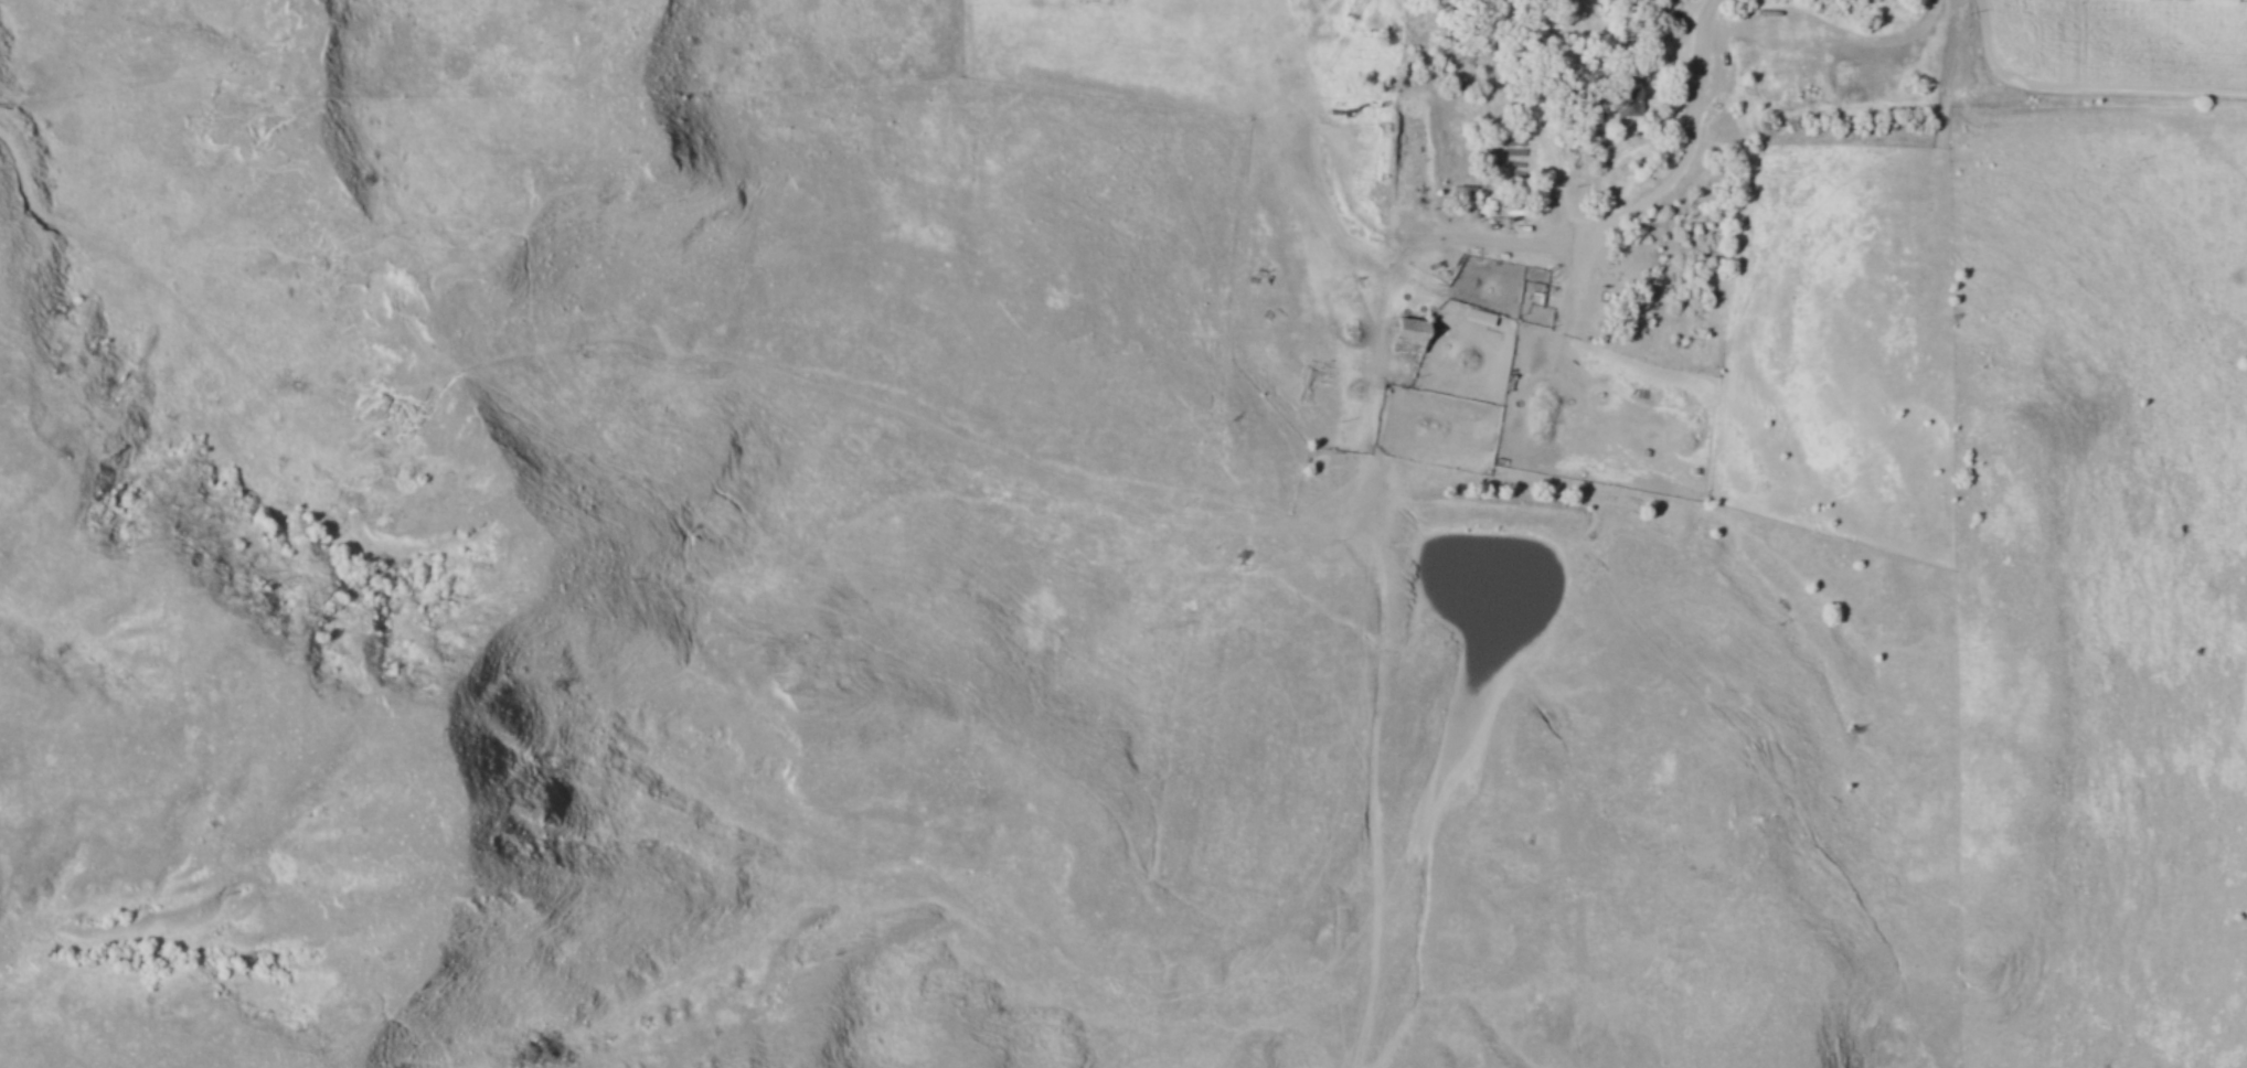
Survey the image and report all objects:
crop: (2122, 41)
building: (1623, 95)
building: (1588, 139)
road: (1310, 150)
road: (1655, 192)
building: (1462, 195)
building: (1405, 334)
road: (1383, 615)

